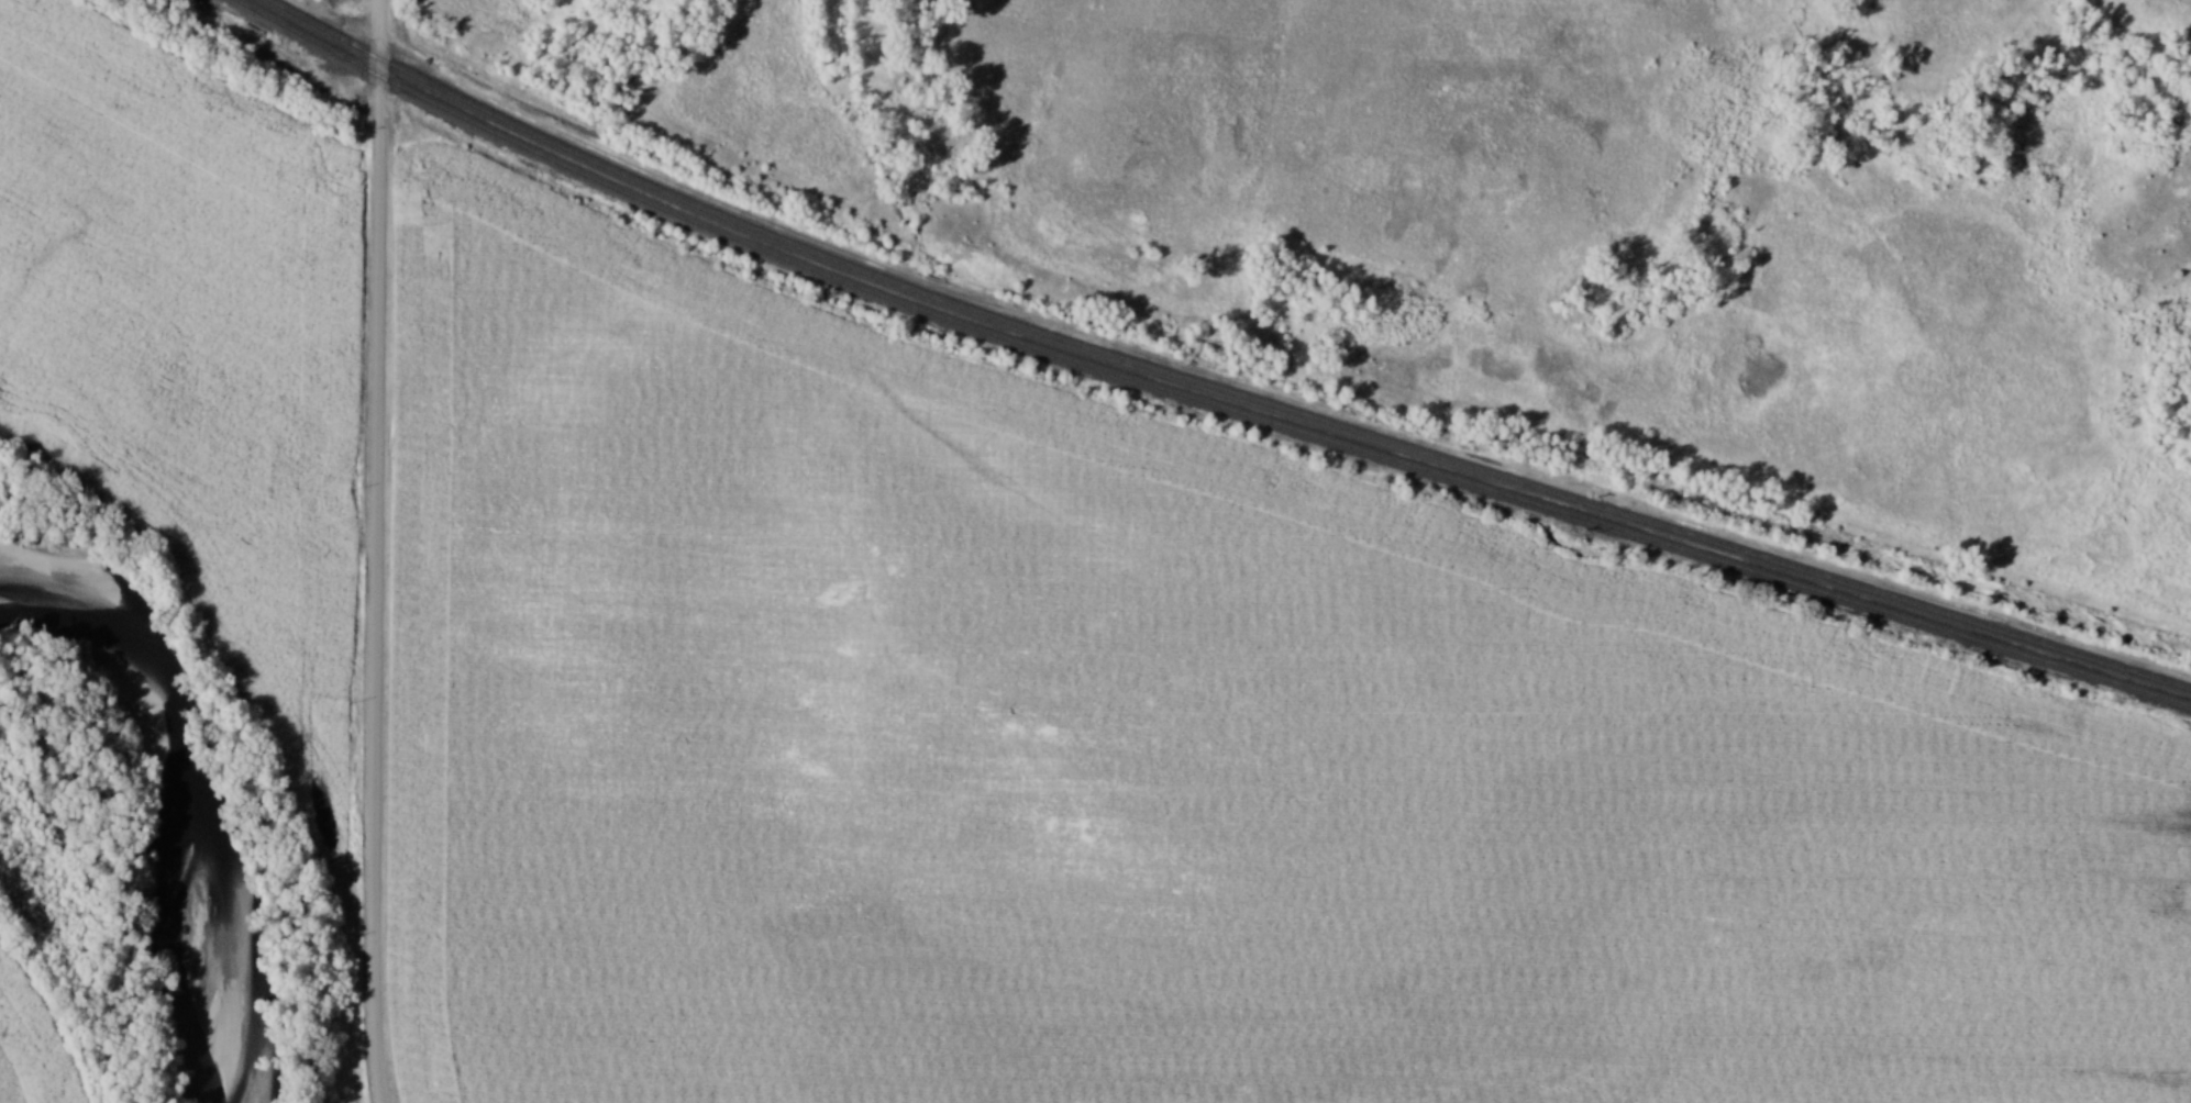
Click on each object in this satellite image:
railway: (1216, 385)
railway: (1200, 393)
road: (374, 551)
river: (163, 796)

